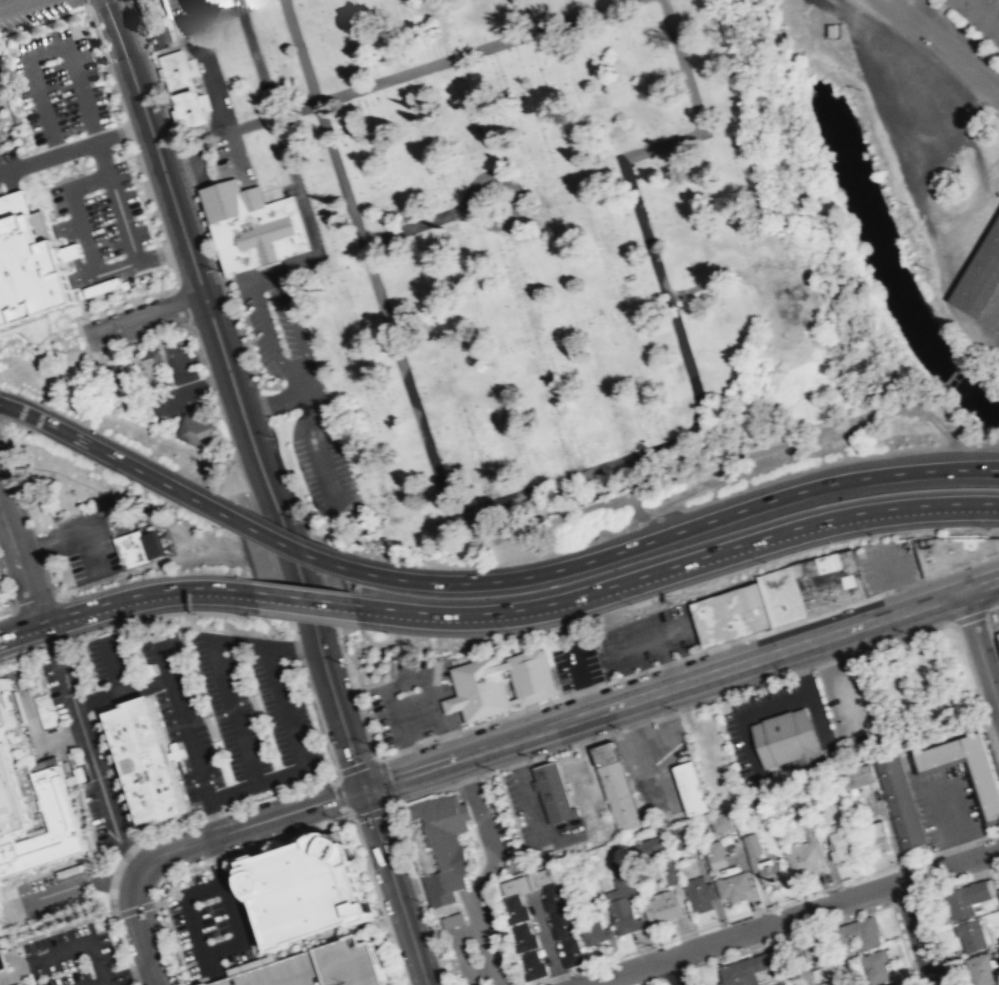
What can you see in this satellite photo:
road: (85, 3)
road: (13, 4)
road: (912, 7)
road: (982, 11)
road: (195, 18)
road: (88, 19)
parking lot: (975, 21)
building: (157, 37)
road: (62, 41)
road: (943, 45)
road: (475, 51)
building: (183, 88)
road: (221, 107)
road: (998, 116)
road: (123, 130)
building: (3, 135)
road: (284, 145)
road: (75, 146)
road: (78, 146)
road: (235, 152)
road: (124, 157)
road: (83, 163)
road: (104, 164)
road: (1, 169)
road: (88, 169)
road: (47, 183)
road: (143, 191)
road: (11, 194)
road: (76, 215)
building: (253, 226)
road: (55, 229)
park: (497, 250)
road: (163, 253)
road: (63, 254)
road: (367, 258)
road: (192, 262)
building: (27, 268)
road: (173, 272)
road: (70, 279)
building: (981, 281)
road: (77, 301)
road: (180, 305)
road: (108, 306)
road: (670, 310)
road: (147, 318)
road: (266, 323)
road: (296, 328)
parking lot: (995, 359)
road: (43, 361)
building: (151, 369)
building: (125, 384)
road: (278, 399)
road: (46, 422)
building: (195, 431)
road: (232, 450)
road: (319, 450)
parking lot: (3, 460)
road: (146, 474)
street lamp: (298, 522)
street lamp: (987, 527)
road: (677, 530)
road: (69, 532)
street lamp: (871, 533)
road: (277, 541)
road: (284, 542)
building: (990, 544)
building: (136, 545)
building: (961, 548)
building: (930, 554)
road: (20, 558)
street lamp: (763, 560)
road: (887, 560)
road: (677, 567)
road: (294, 572)
building: (827, 579)
road: (979, 586)
road: (173, 588)
building: (779, 595)
parking lot: (1, 600)
road: (303, 601)
street lamp: (631, 602)
road: (303, 603)
building: (740, 610)
road: (67, 613)
road: (968, 617)
building: (706, 621)
road: (990, 625)
road: (20, 627)
road: (675, 629)
street lamp: (388, 632)
street lamp: (514, 632)
street lamp: (909, 633)
parking lot: (646, 637)
building: (998, 640)
road: (262, 642)
road: (631, 643)
road: (295, 647)
road: (979, 652)
road: (666, 659)
parking lot: (576, 662)
road: (110, 663)
street lamp: (787, 670)
street lamp: (304, 672)
building: (529, 675)
road: (582, 679)
road: (838, 680)
road: (405, 681)
building: (478, 686)
road: (976, 688)
road: (661, 689)
road: (120, 690)
parking lot: (413, 701)
parking lot: (846, 702)
road: (336, 704)
road: (283, 705)
street lamp: (674, 708)
road: (231, 709)
building: (44, 711)
road: (672, 711)
road: (180, 716)
road: (314, 717)
street lamp: (620, 728)
building: (786, 740)
street lamp: (328, 742)
road: (397, 751)
street lamp: (531, 757)
building: (140, 758)
road: (93, 764)
road: (356, 765)
road: (278, 774)
building: (856, 776)
road: (386, 781)
building: (984, 781)
building: (617, 785)
traffic signals: (363, 787)
building: (689, 787)
road: (231, 789)
road: (338, 791)
building: (554, 791)
building: (33, 802)
building: (899, 802)
parking lot: (945, 803)
street lamp: (230, 811)
road: (373, 811)
road: (213, 815)
building: (720, 821)
road: (251, 823)
road: (956, 824)
street lamp: (301, 828)
building: (810, 832)
building: (874, 836)
building: (681, 837)
building: (839, 842)
building: (750, 844)
building: (438, 845)
building: (637, 849)
road: (245, 850)
building: (713, 851)
building: (802, 858)
street lamp: (187, 865)
street lamp: (903, 865)
building: (620, 868)
building: (687, 869)
building: (769, 871)
building: (544, 875)
road: (962, 880)
road: (77, 883)
road: (394, 885)
building: (512, 886)
building: (732, 886)
building: (998, 888)
building: (308, 889)
building: (998, 889)
parking lot: (50, 894)
road: (376, 894)
building: (697, 894)
road: (418, 895)
building: (554, 896)
flagpole: (214, 897)
road: (907, 897)
building: (966, 898)
road: (253, 902)
road: (135, 907)
road: (761, 907)
building: (515, 908)
building: (664, 908)
road: (108, 912)
road: (112, 913)
road: (98, 914)
building: (625, 915)
road: (790, 916)
building: (3, 918)
road: (134, 924)
building: (563, 924)
parking lot: (211, 925)
road: (53, 929)
building: (595, 931)
building: (857, 933)
road: (918, 933)
road: (792, 935)
building: (970, 935)
building: (524, 936)
road: (545, 938)
road: (939, 939)
road: (120, 940)
road: (171, 943)
road: (903, 944)
road: (82, 945)
road: (225, 945)
road: (797, 951)
building: (573, 952)
parking lot: (72, 958)
building: (763, 960)
building: (5, 962)
building: (533, 965)
building: (875, 965)
building: (319, 967)
parking garage: (319, 967)
road: (676, 970)
building: (981, 970)
road: (677, 972)
building: (735, 972)
road: (131, 973)
street lamp: (947, 975)
road: (121, 976)
road: (696, 976)
road: (651, 982)
road: (661, 982)
road: (106, 983)
road: (134, 983)
building: (893, 984)

